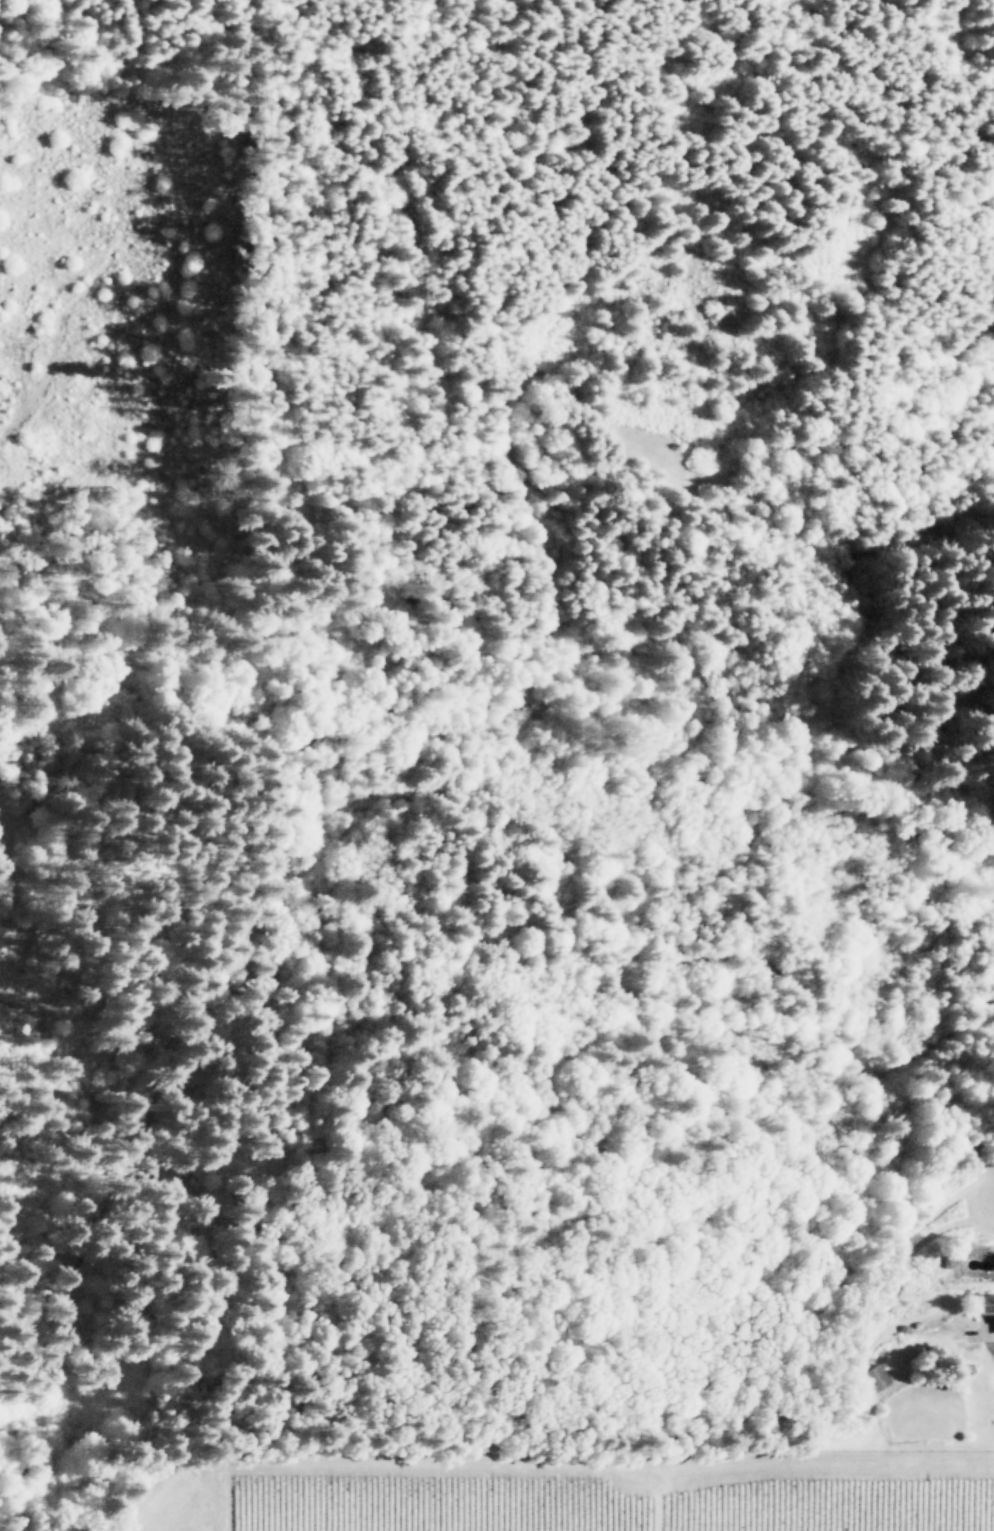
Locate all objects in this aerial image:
road: (993, 1348)

